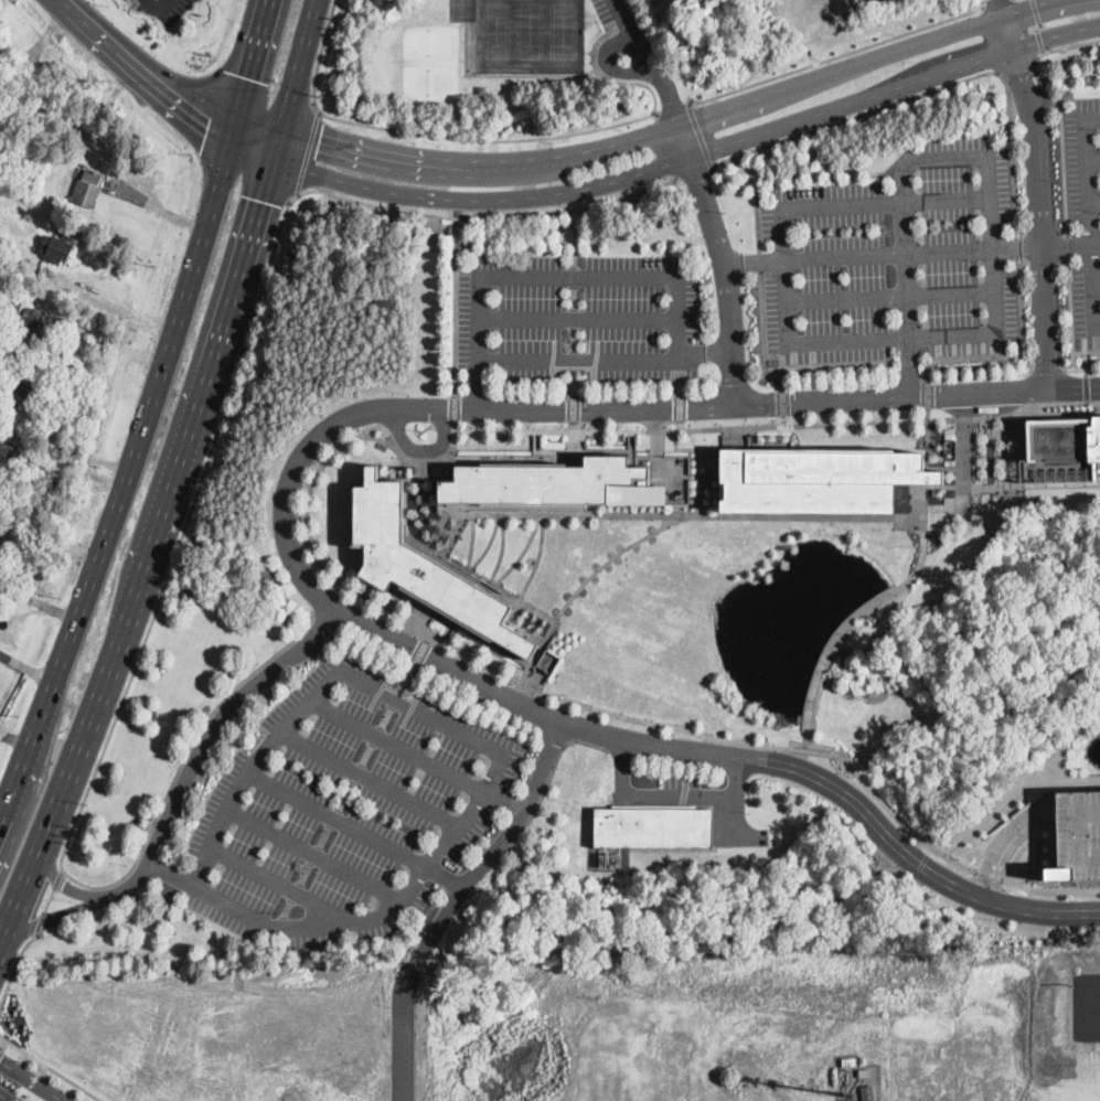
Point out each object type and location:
road: (996, 3)
road: (158, 7)
road: (996, 9)
road: (1030, 9)
park: (460, 10)
road: (1036, 12)
parking lot: (623, 18)
road: (1038, 26)
park: (494, 30)
park: (560, 30)
park: (527, 31)
road: (1054, 33)
road: (596, 42)
road: (1040, 42)
road: (322, 55)
road: (837, 57)
park: (427, 62)
road: (299, 64)
road: (645, 64)
road: (248, 65)
road: (607, 65)
road: (142, 66)
road: (1016, 67)
road: (839, 73)
road: (504, 74)
traffic signals: (246, 76)
road: (638, 84)
road: (264, 88)
building: (481, 89)
road: (935, 92)
road: (848, 103)
road: (673, 110)
road: (1061, 110)
traffic signals: (211, 117)
road: (206, 118)
road: (254, 129)
road: (702, 138)
traffic signals: (320, 139)
road: (487, 140)
road: (684, 142)
road: (274, 145)
road: (249, 146)
building: (70, 150)
road: (308, 153)
road: (1093, 161)
road: (479, 163)
road: (695, 175)
road: (245, 182)
building: (87, 189)
road: (479, 199)
traffic signals: (258, 200)
road: (759, 201)
road: (948, 201)
road: (1037, 202)
road: (1094, 202)
parking lot: (1085, 213)
road: (1090, 217)
building: (1, 236)
road: (577, 238)
road: (1096, 243)
road: (1044, 246)
road: (1069, 246)
building: (55, 248)
road: (1018, 250)
road: (888, 254)
parking lot: (896, 259)
road: (752, 261)
road: (760, 263)
road: (906, 270)
road: (677, 275)
road: (574, 276)
road: (725, 277)
road: (1097, 286)
road: (573, 297)
road: (891, 297)
road: (456, 303)
road: (114, 307)
road: (1071, 313)
road: (573, 318)
parking lot: (579, 318)
road: (1022, 318)
road: (579, 320)
building: (29, 327)
road: (917, 338)
road: (573, 339)
road: (763, 341)
road: (111, 342)
road: (706, 351)
road: (574, 360)
road: (553, 364)
road: (596, 365)
road: (909, 366)
road: (1078, 370)
road: (1048, 371)
road: (595, 375)
road: (980, 376)
road: (573, 383)
building: (14, 386)
road: (480, 387)
road: (680, 387)
road: (1074, 389)
road: (889, 396)
road: (783, 402)
road: (1064, 405)
road: (680, 406)
road: (573, 408)
road: (456, 409)
road: (784, 419)
road: (830, 423)
road: (680, 424)
road: (573, 425)
road: (456, 426)
building: (2, 427)
road: (658, 429)
road: (551, 430)
road: (739, 430)
road: (739, 447)
road: (423, 449)
building: (1061, 449)
road: (696, 455)
building: (9, 456)
road: (425, 462)
road: (122, 477)
building: (819, 478)
building: (554, 483)
road: (591, 514)
road: (453, 534)
road: (473, 541)
road: (182, 542)
road: (489, 544)
road: (501, 548)
road: (145, 553)
road: (522, 553)
road: (537, 558)
road: (601, 565)
building: (424, 566)
road: (342, 579)
road: (35, 600)
road: (845, 624)
road: (434, 659)
road: (25, 667)
road: (534, 686)
road: (13, 739)
road: (203, 740)
road: (485, 742)
road: (791, 744)
road: (779, 746)
road: (397, 747)
road: (621, 767)
road: (369, 780)
road: (545, 788)
road: (697, 794)
road: (1015, 798)
road: (502, 802)
parking lot: (345, 809)
road: (338, 820)
building: (653, 826)
building: (1081, 835)
parking garage: (1081, 835)
road: (1008, 837)
road: (1028, 840)
road: (492, 851)
road: (314, 854)
building: (612, 857)
road: (171, 874)
road: (987, 875)
road: (1017, 875)
road: (445, 877)
road: (58, 879)
road: (61, 883)
road: (278, 884)
road: (1049, 890)
road: (50, 901)
road: (53, 918)
road: (40, 923)
road: (17, 966)
road: (402, 1035)
road: (3, 1046)
traffic signals: (0, 1060)
building: (850, 1061)
road: (51, 1067)
building: (864, 1071)
road: (31, 1080)
building: (867, 1093)
road: (4, 1098)
road: (826, 1100)

